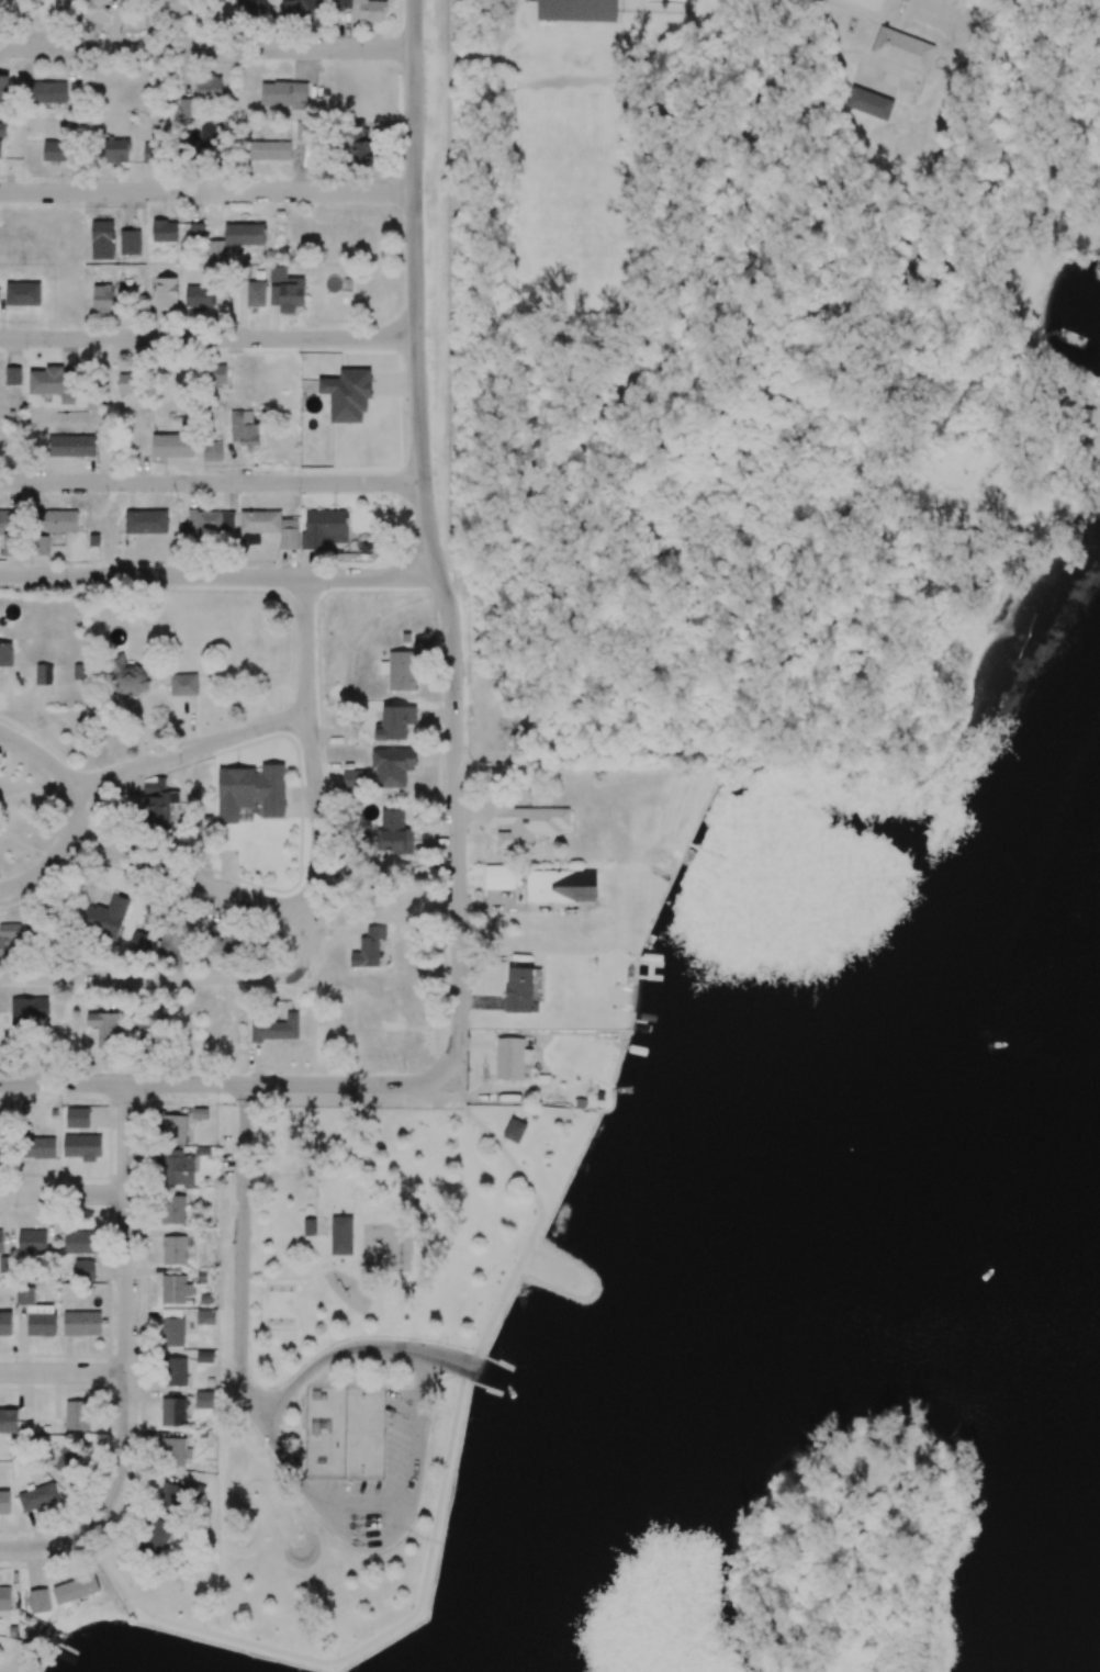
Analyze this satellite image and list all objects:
park: (872, 2)
building: (170, 8)
road: (947, 8)
building: (251, 9)
building: (363, 9)
building: (577, 10)
building: (98, 11)
building: (303, 12)
road: (206, 47)
building: (903, 48)
building: (209, 88)
building: (3, 89)
building: (48, 92)
building: (282, 94)
building: (869, 103)
building: (183, 108)
building: (2, 130)
building: (304, 131)
building: (358, 143)
building: (0, 148)
building: (116, 150)
building: (268, 150)
building: (151, 153)
road: (207, 192)
building: (164, 231)
building: (197, 231)
building: (245, 234)
building: (102, 239)
building: (130, 242)
building: (215, 251)
building: (285, 290)
building: (22, 294)
building: (255, 294)
building: (167, 295)
building: (198, 295)
building: (102, 299)
park: (751, 327)
road: (209, 338)
building: (216, 374)
building: (12, 375)
building: (54, 383)
building: (126, 383)
building: (347, 395)
building: (243, 431)
building: (70, 446)
building: (172, 446)
building: (212, 451)
road: (212, 483)
building: (9, 521)
building: (57, 521)
building: (146, 521)
building: (209, 521)
building: (268, 528)
building: (324, 528)
road: (429, 540)
building: (41, 546)
road: (220, 576)
road: (306, 646)
building: (5, 654)
building: (402, 671)
building: (43, 674)
building: (128, 677)
building: (183, 684)
building: (395, 723)
road: (191, 750)
building: (392, 766)
road: (58, 771)
building: (352, 779)
building: (250, 792)
building: (158, 804)
park: (25, 813)
building: (523, 822)
building: (396, 830)
road: (41, 869)
building: (498, 877)
road: (191, 879)
building: (550, 886)
building: (103, 917)
building: (9, 940)
building: (142, 943)
building: (170, 945)
building: (232, 946)
building: (369, 947)
road: (279, 976)
building: (27, 1009)
building: (165, 1018)
building: (104, 1029)
building: (276, 1029)
building: (509, 1058)
road: (221, 1084)
building: (199, 1113)
building: (77, 1118)
building: (173, 1129)
building: (514, 1130)
building: (82, 1146)
building: (1, 1147)
building: (37, 1147)
building: (175, 1168)
road: (64, 1193)
building: (172, 1210)
building: (308, 1226)
building: (340, 1235)
building: (0, 1242)
building: (32, 1242)
building: (80, 1242)
building: (173, 1250)
park: (921, 1261)
building: (83, 1270)
building: (175, 1289)
building: (35, 1314)
building: (205, 1316)
building: (81, 1323)
building: (5, 1324)
building: (171, 1327)
building: (204, 1357)
road: (127, 1360)
road: (461, 1362)
park: (458, 1365)
road: (64, 1371)
building: (175, 1371)
building: (203, 1400)
building: (172, 1412)
building: (77, 1415)
building: (8, 1421)
park: (327, 1433)
park: (366, 1434)
building: (175, 1451)
building: (67, 1455)
building: (179, 1495)
building: (37, 1497)
road: (316, 1502)
building: (4, 1503)
road: (440, 1503)
building: (156, 1537)
building: (75, 1589)
building: (4, 1598)
building: (38, 1601)

